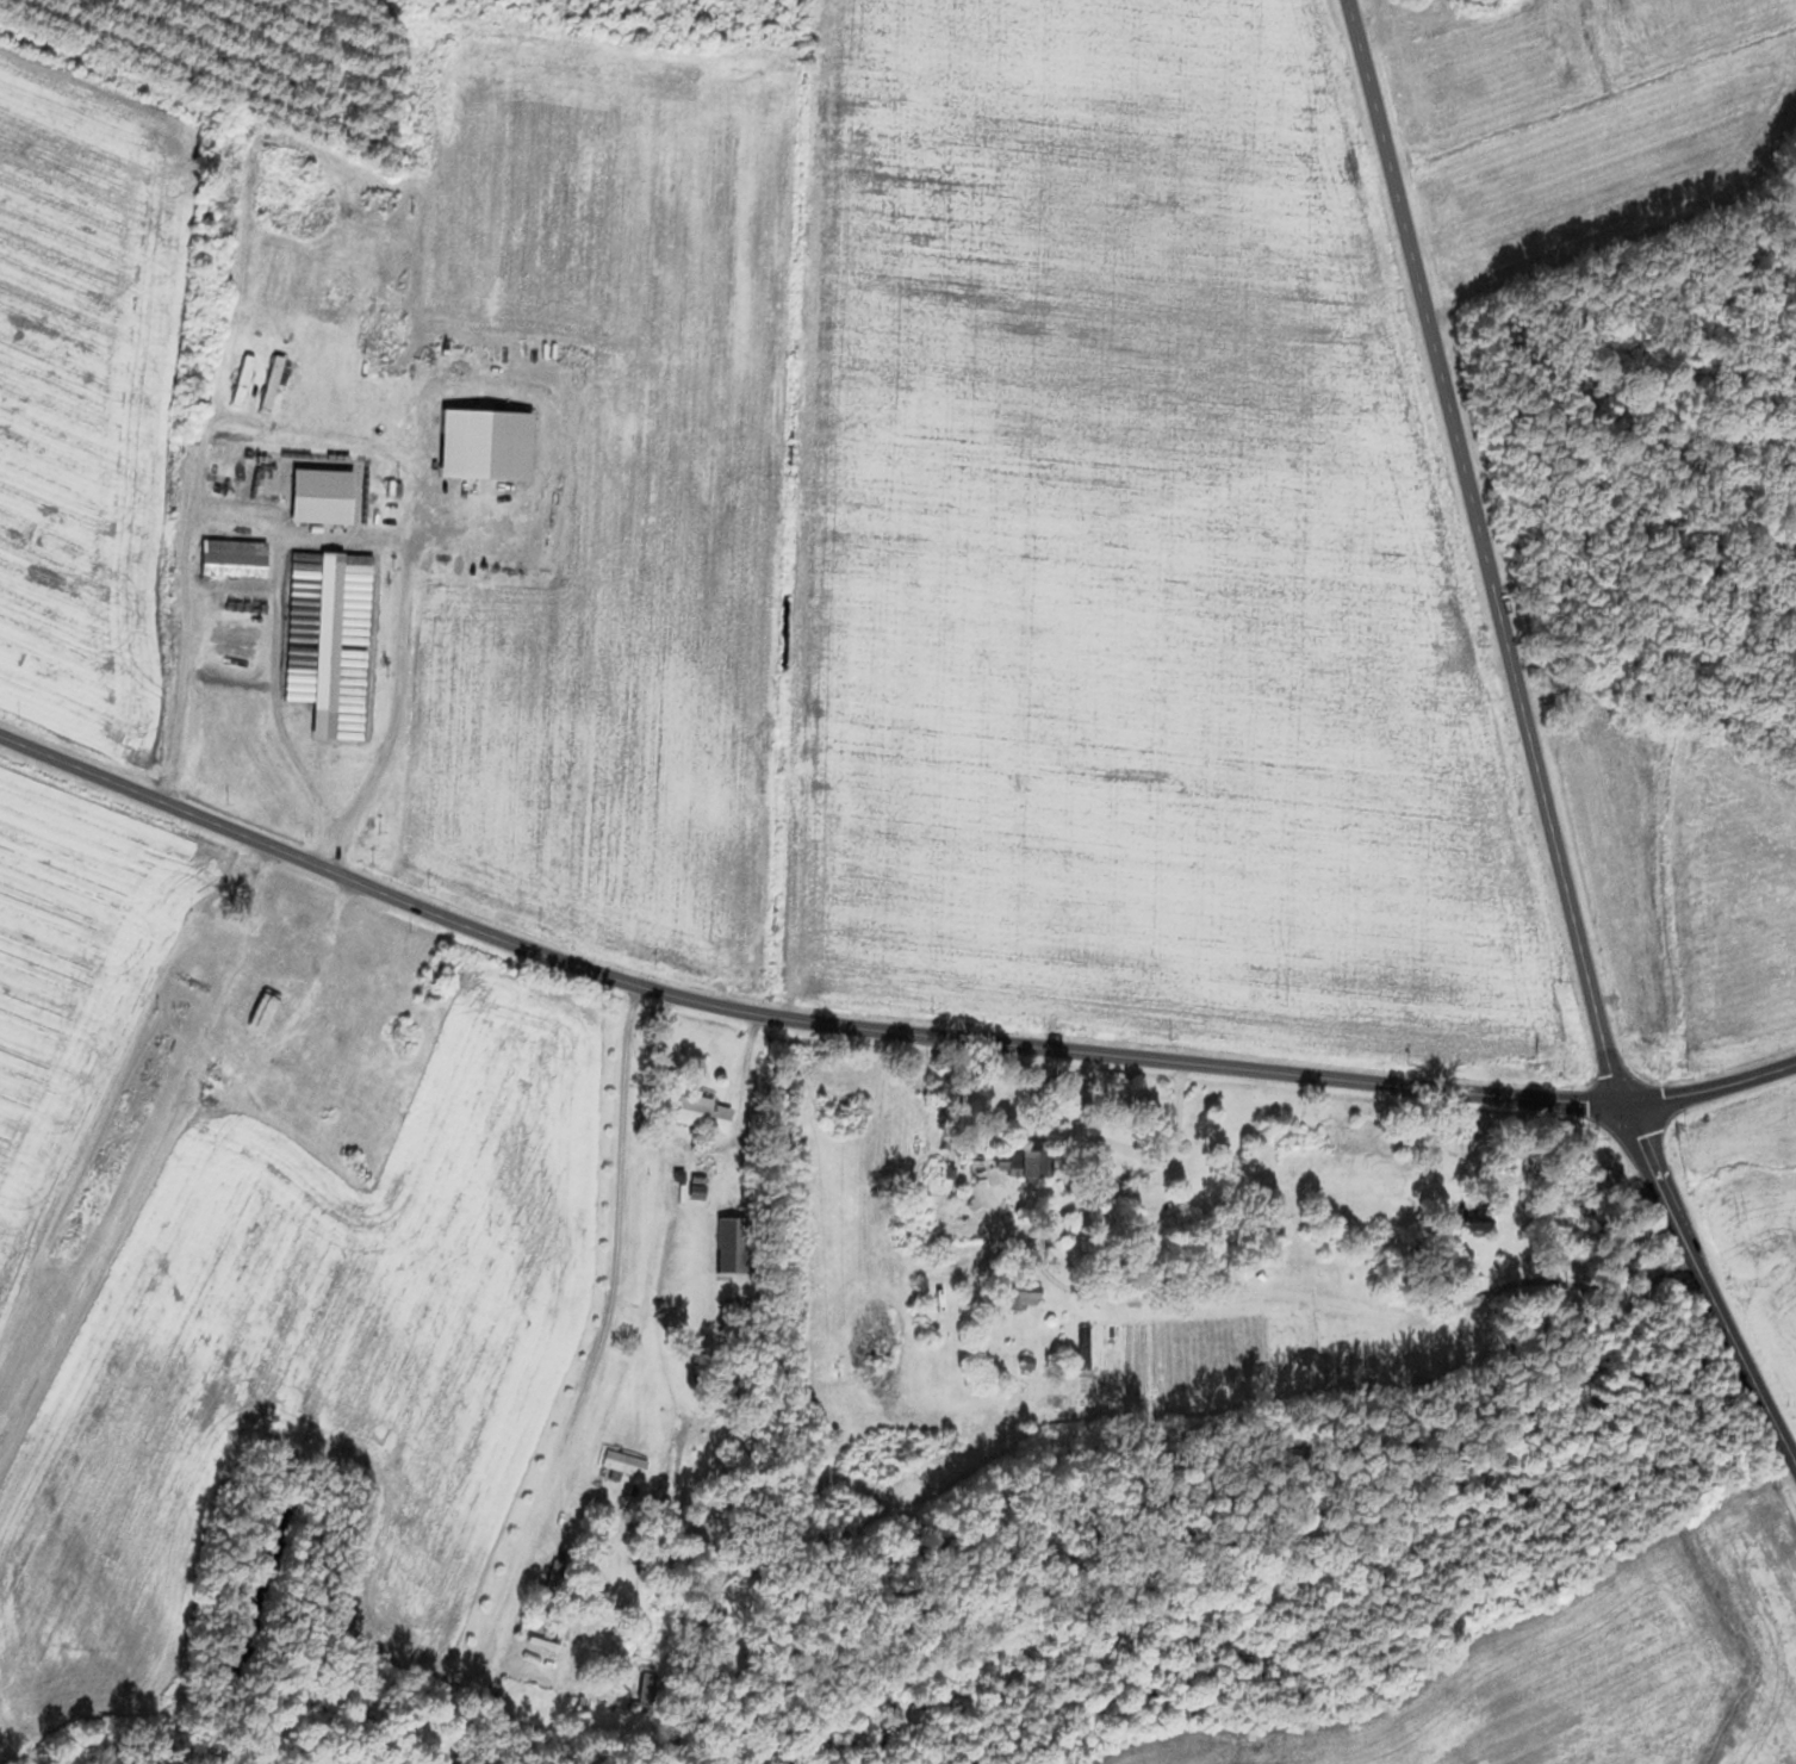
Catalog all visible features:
road: (329, 431)
building: (324, 510)
road: (1487, 553)
building: (224, 557)
building: (318, 644)
building: (272, 774)
building: (274, 1012)
road: (790, 1017)
road: (1711, 1085)
traffic signals: (1628, 1106)
building: (695, 1111)
building: (1011, 1160)
building: (692, 1185)
road: (1094, 1185)
road: (610, 1218)
building: (714, 1242)
road: (1705, 1284)
road: (1599, 1285)
building: (619, 1461)
building: (644, 1683)

